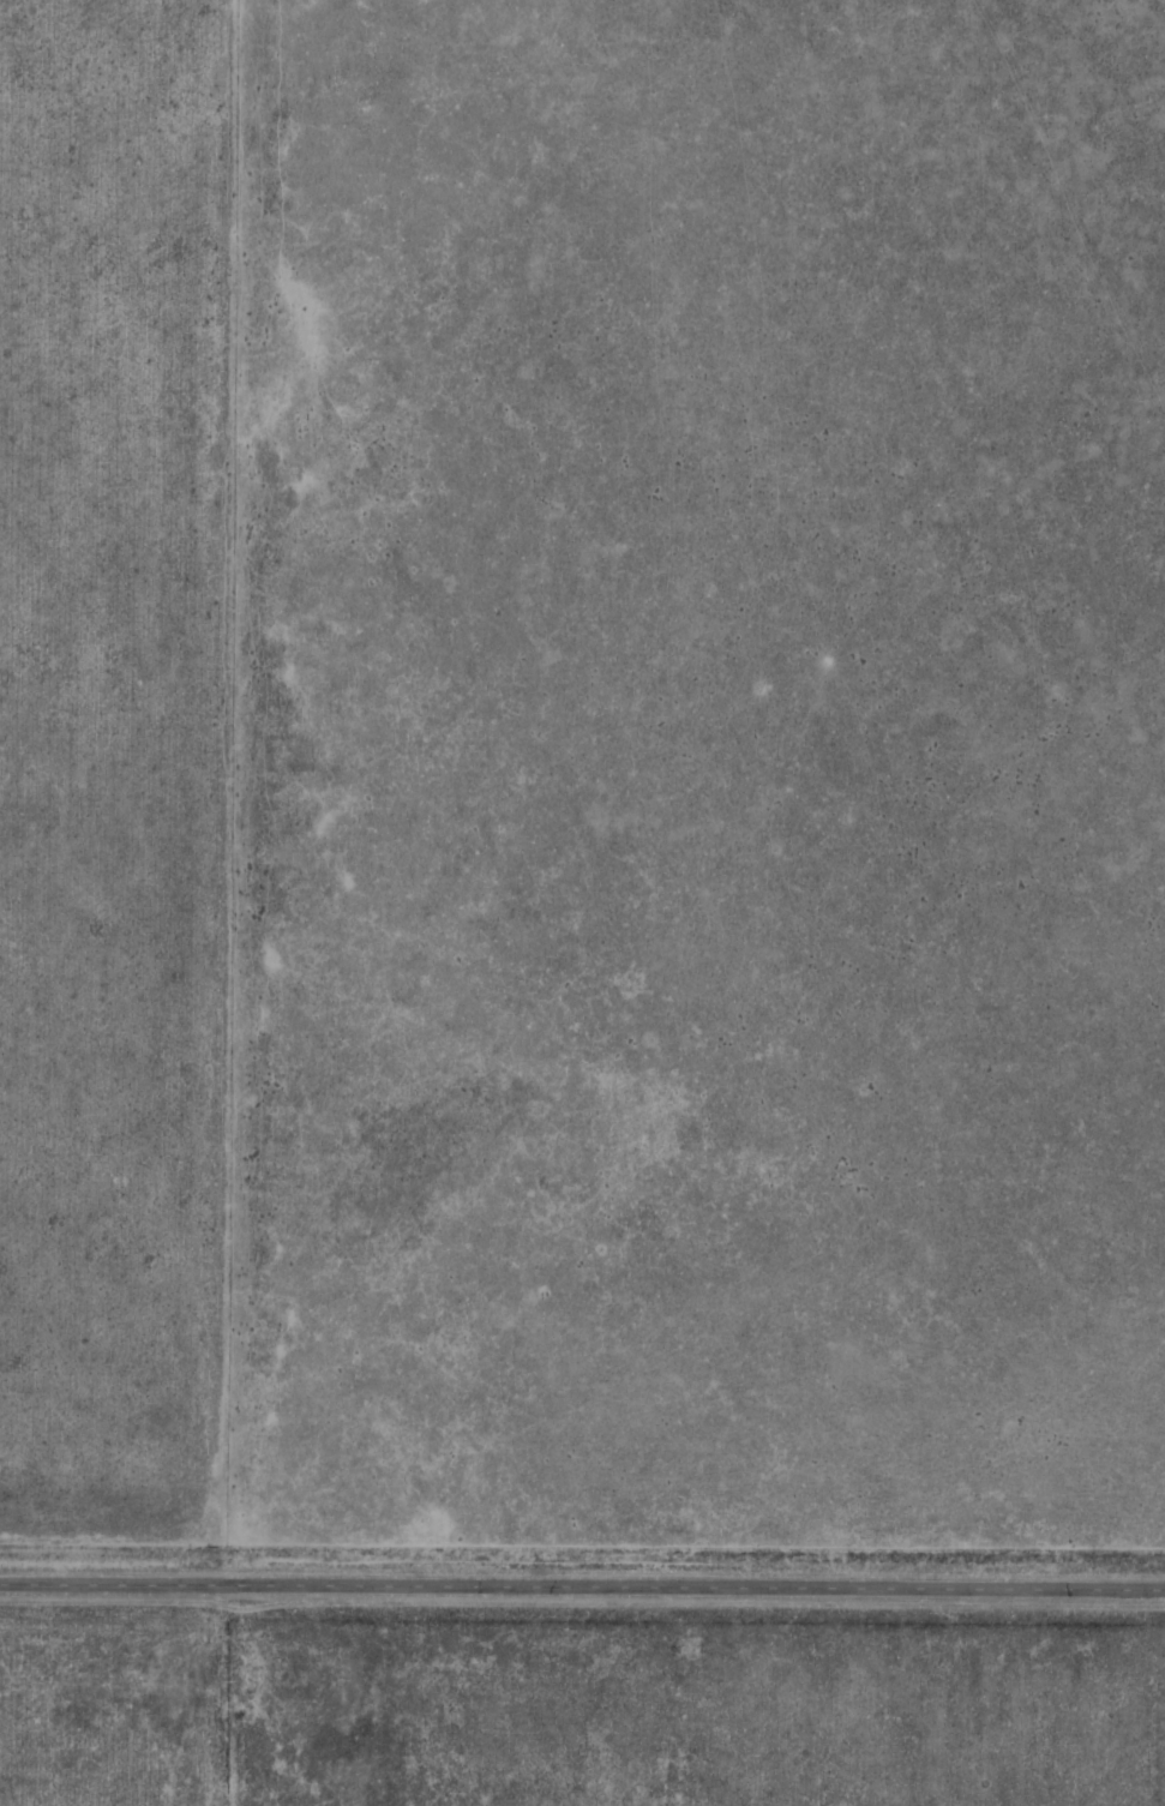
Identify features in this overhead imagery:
road: (582, 1592)

